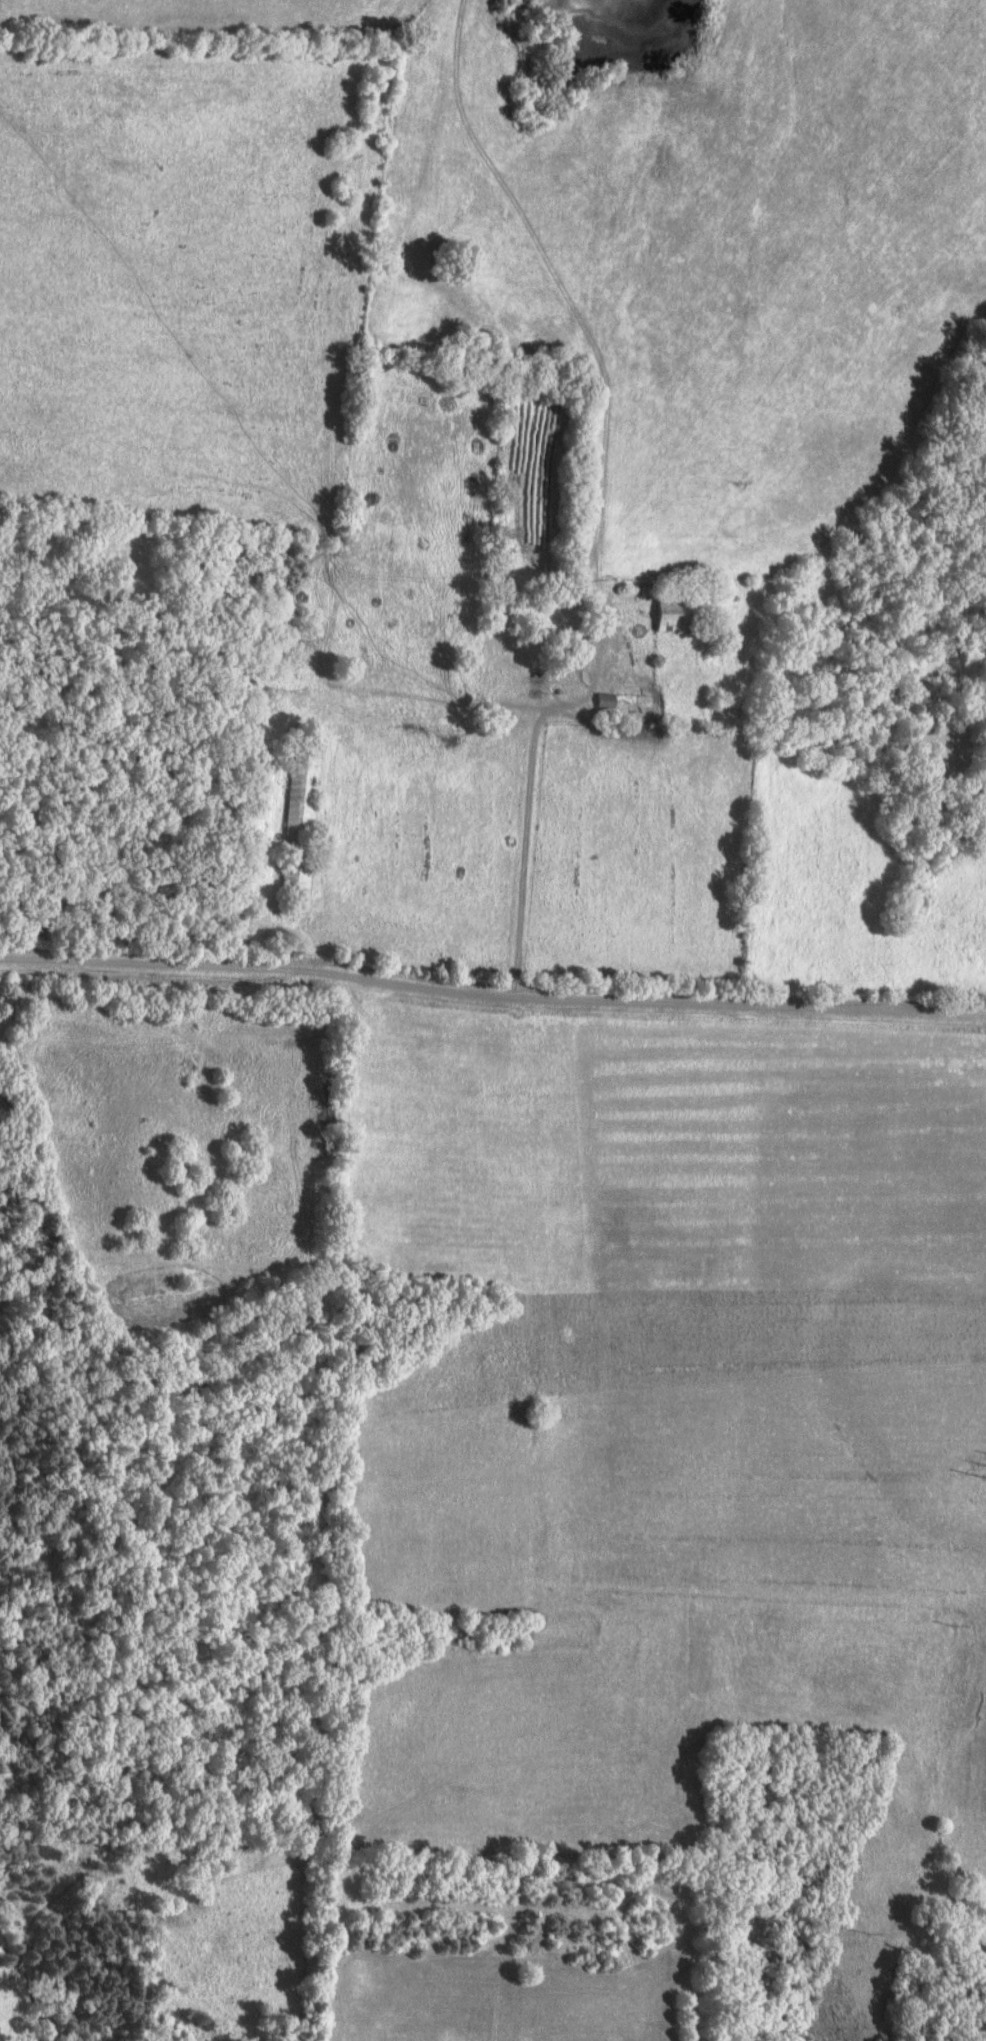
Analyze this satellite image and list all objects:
building: (680, 612)
building: (549, 626)
building: (606, 700)
building: (728, 707)
building: (301, 814)
road: (491, 997)
crop: (665, 1410)

